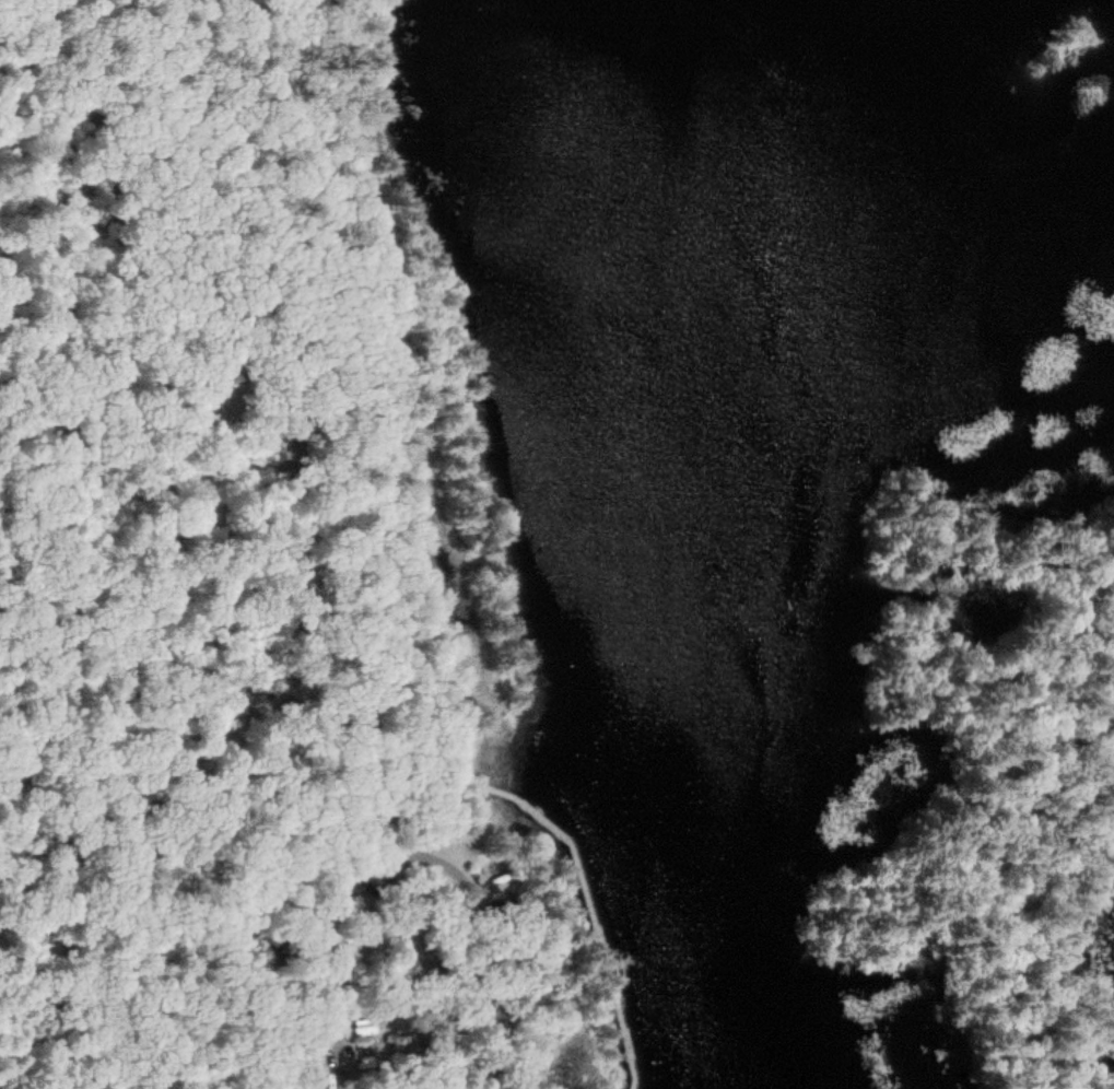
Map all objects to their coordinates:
road: (374, 386)
road: (167, 477)
park: (556, 544)
road: (413, 800)
road: (1021, 834)
road: (408, 856)
road: (585, 898)
road: (410, 976)
building: (309, 1082)

